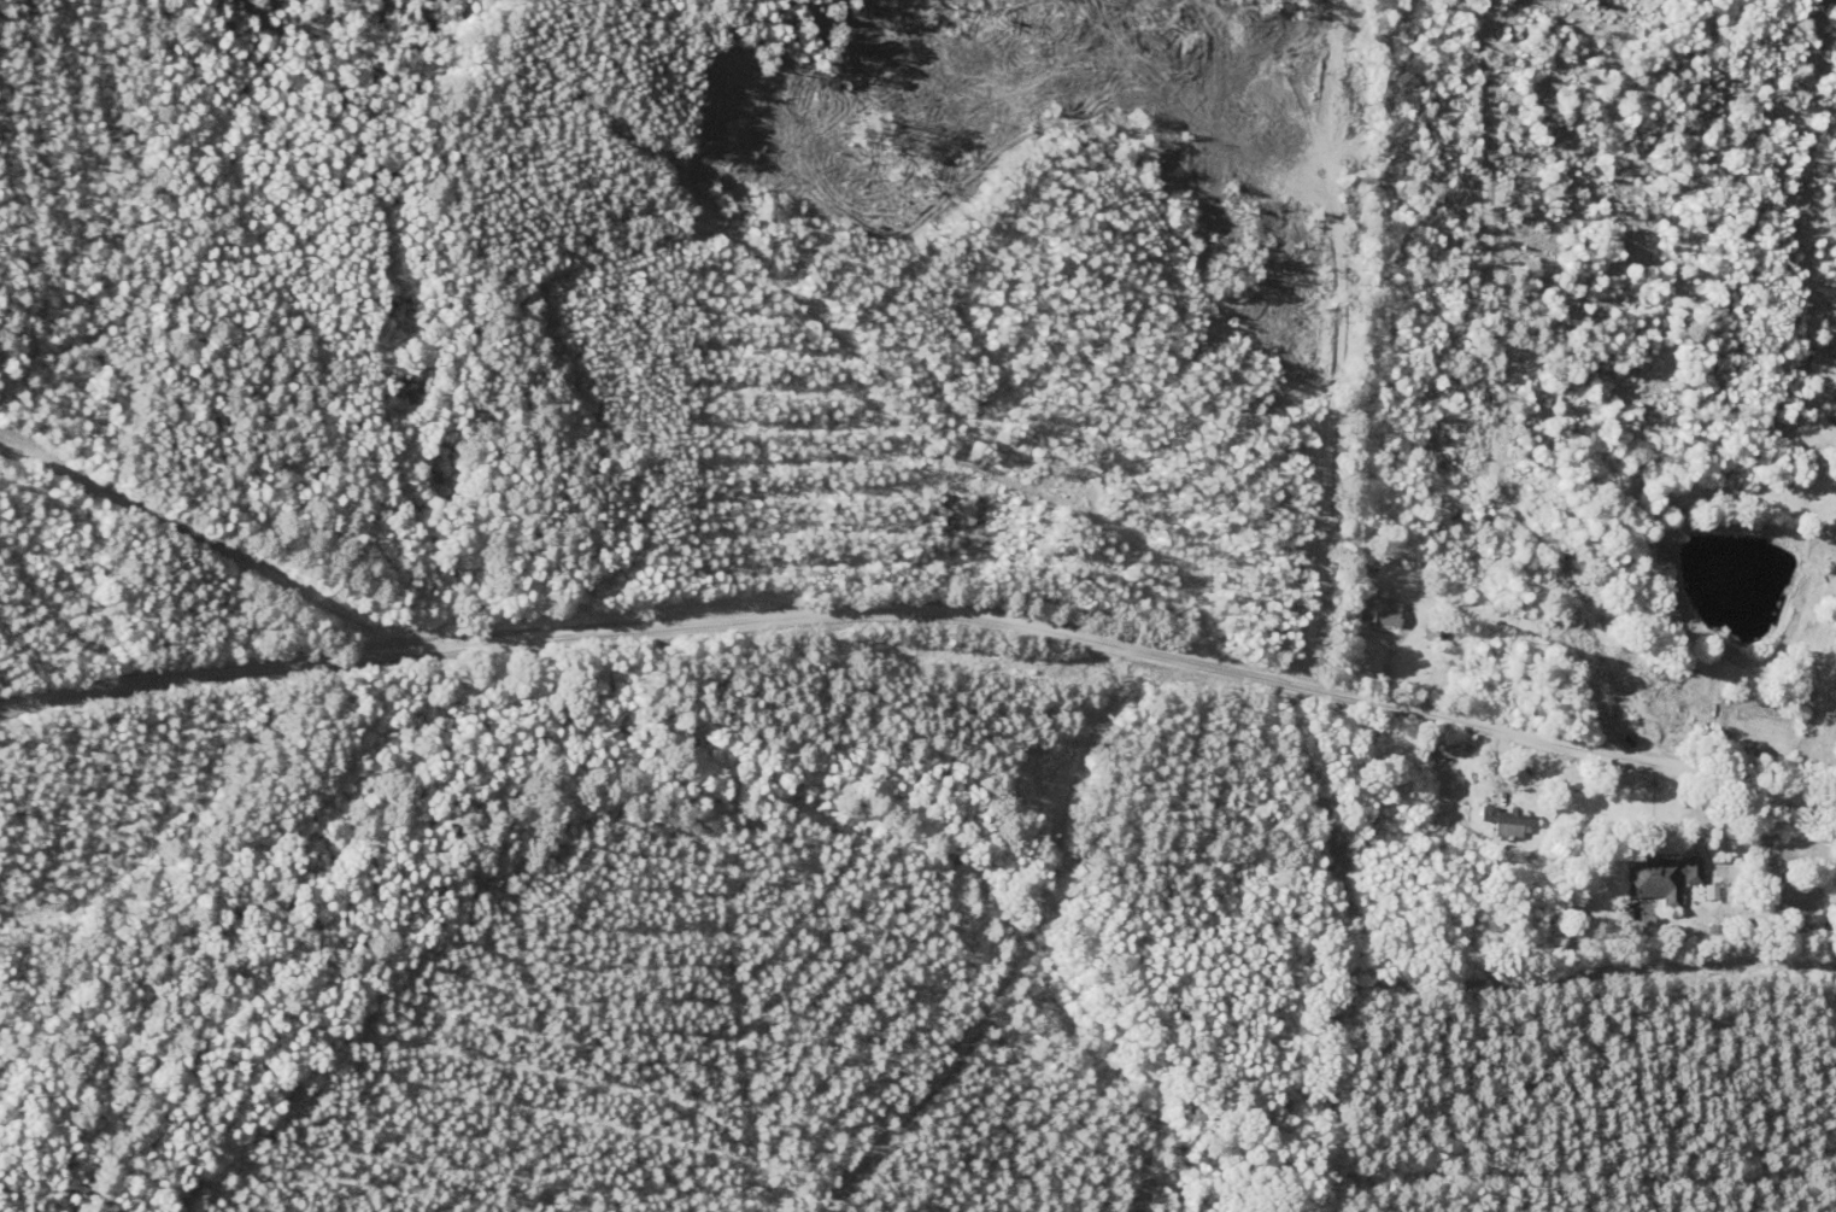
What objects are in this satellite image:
building: (1374, 610)
road: (1180, 656)
road: (256, 667)
building: (1507, 821)
building: (1658, 877)

